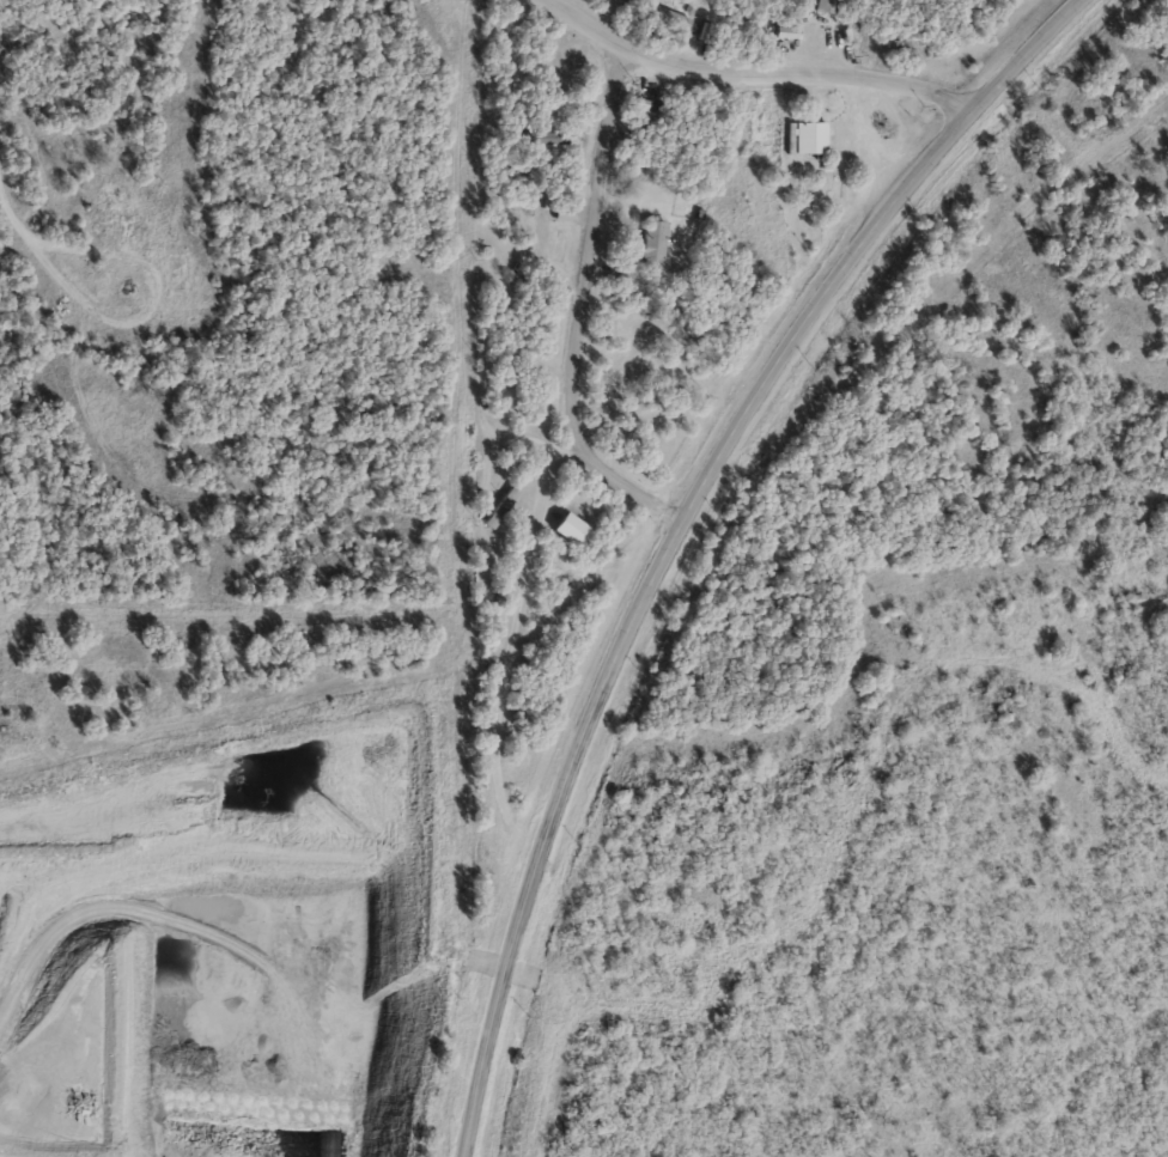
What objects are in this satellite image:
building: (670, 17)
building: (896, 43)
road: (742, 74)
building: (810, 136)
building: (541, 139)
building: (655, 242)
building: (176, 280)
road: (583, 316)
building: (632, 346)
building: (501, 505)
building: (570, 526)
road: (680, 528)
road: (12, 1151)

